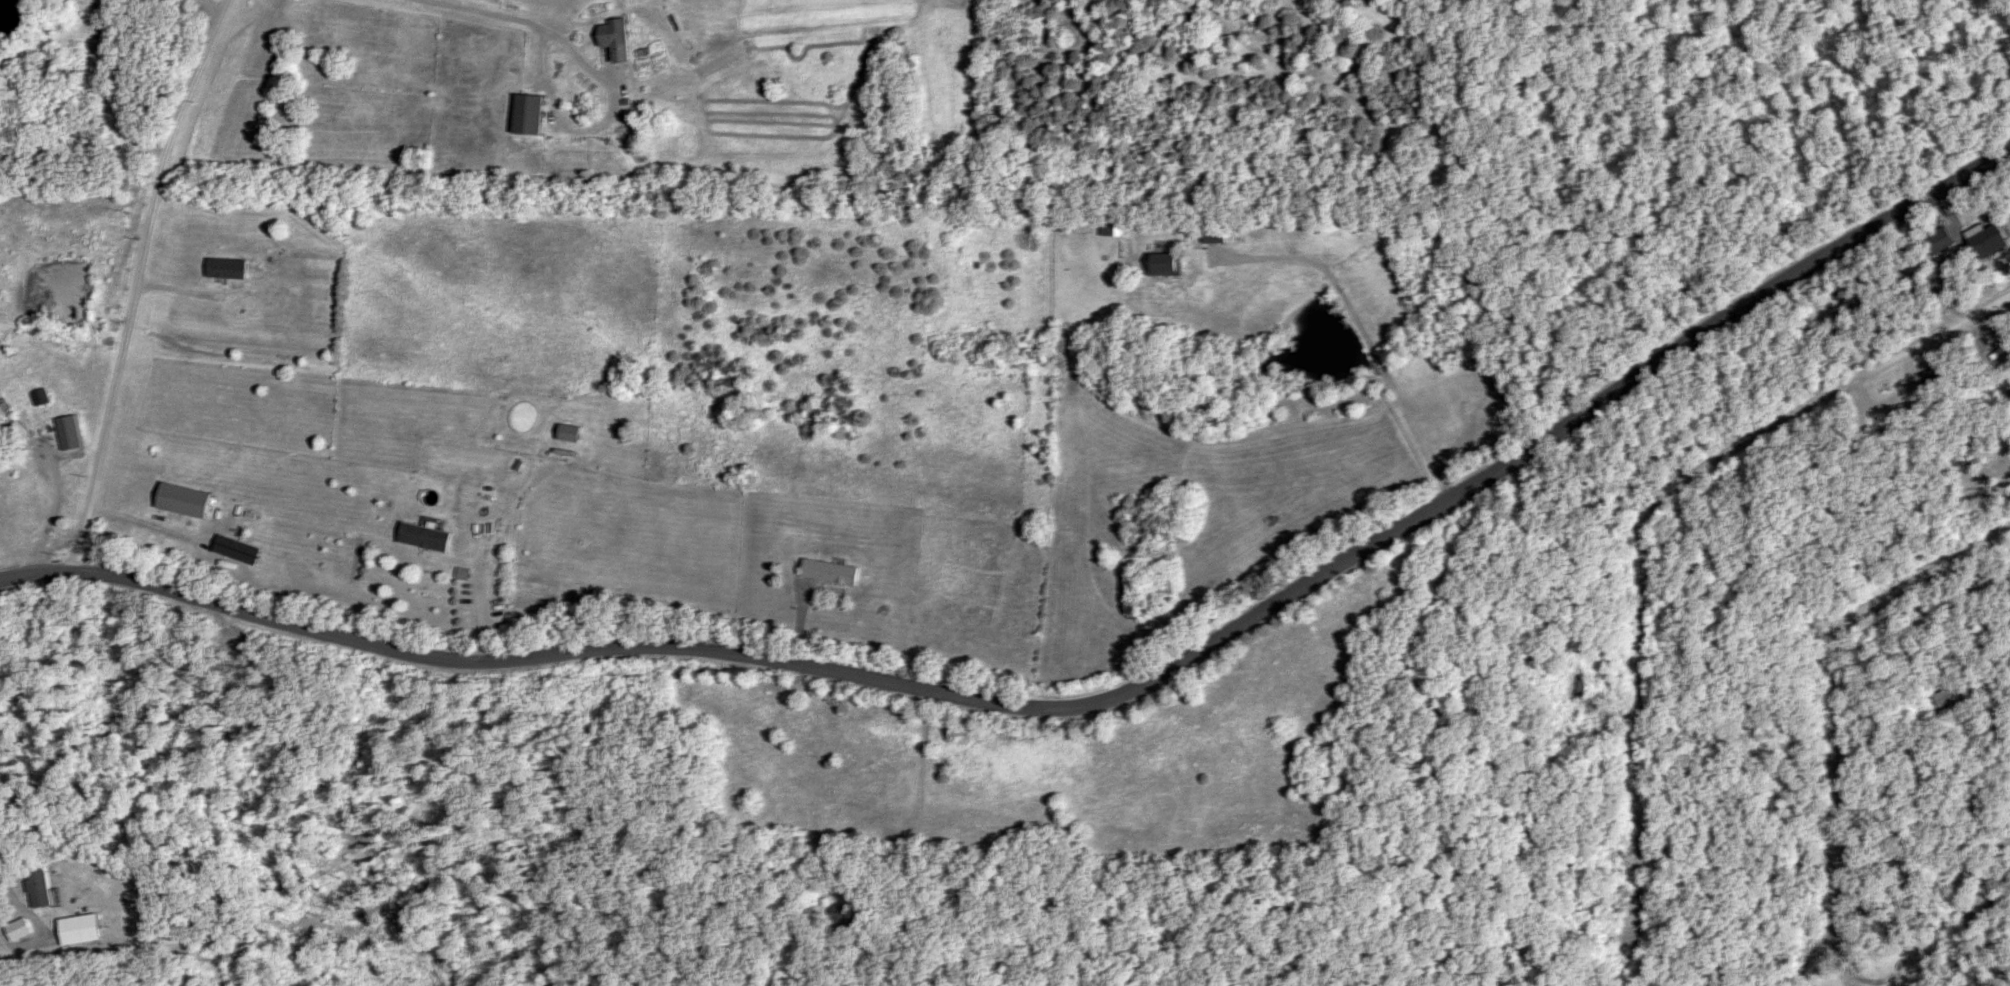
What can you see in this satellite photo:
road: (215, 6)
road: (523, 21)
building: (616, 34)
building: (531, 114)
building: (1113, 226)
building: (1216, 234)
building: (1946, 236)
building: (1993, 242)
building: (1168, 264)
building: (229, 268)
road: (135, 281)
road: (1363, 335)
building: (42, 398)
building: (2, 416)
building: (70, 434)
building: (570, 434)
road: (1693, 474)
building: (187, 500)
road: (51, 512)
building: (429, 536)
building: (833, 571)
road: (485, 619)
road: (1836, 689)
road: (1073, 704)
road: (1558, 715)
building: (42, 887)
building: (847, 915)
building: (22, 928)
building: (82, 930)

